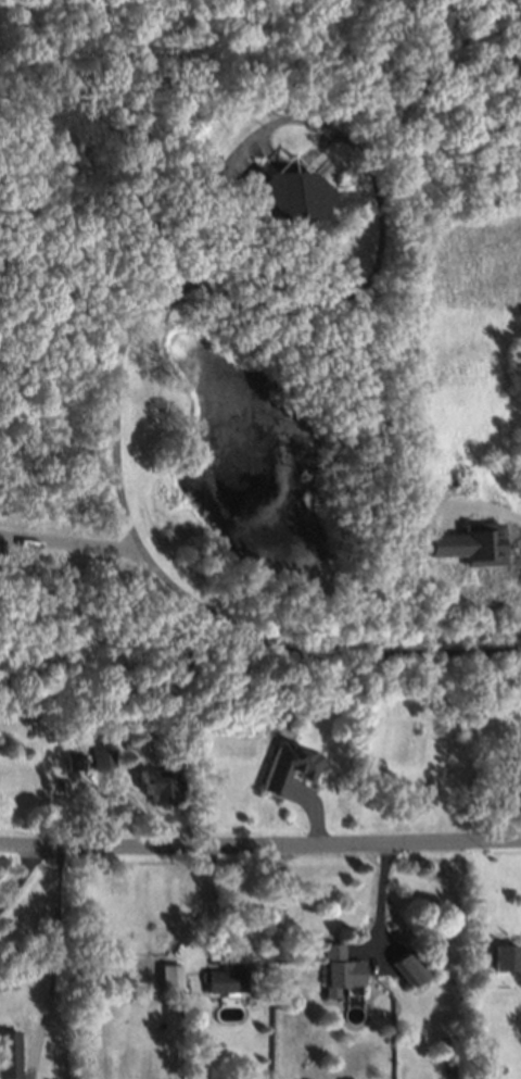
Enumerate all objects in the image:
building: (284, 189)
road: (380, 222)
road: (520, 509)
road: (135, 542)
building: (470, 544)
building: (131, 744)
building: (177, 755)
building: (72, 756)
building: (100, 758)
building: (287, 760)
building: (152, 785)
road: (259, 841)
road: (15, 873)
road: (383, 896)
road: (213, 899)
building: (506, 957)
road: (58, 963)
building: (404, 965)
building: (335, 967)
building: (165, 976)
building: (224, 978)
building: (444, 1042)
building: (8, 1052)

